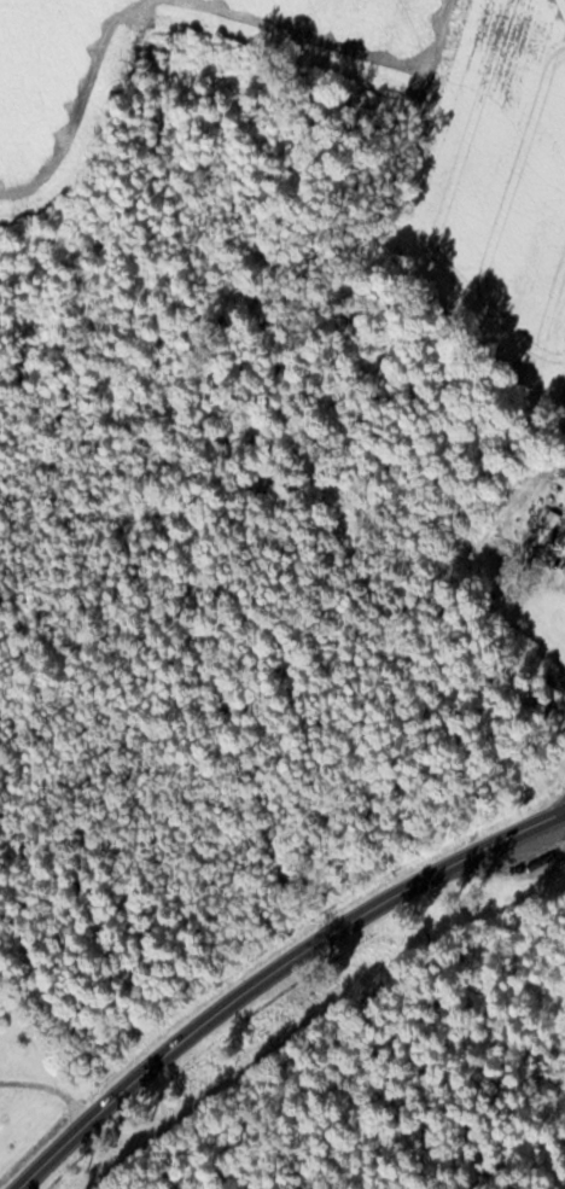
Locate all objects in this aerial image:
road: (270, 971)

